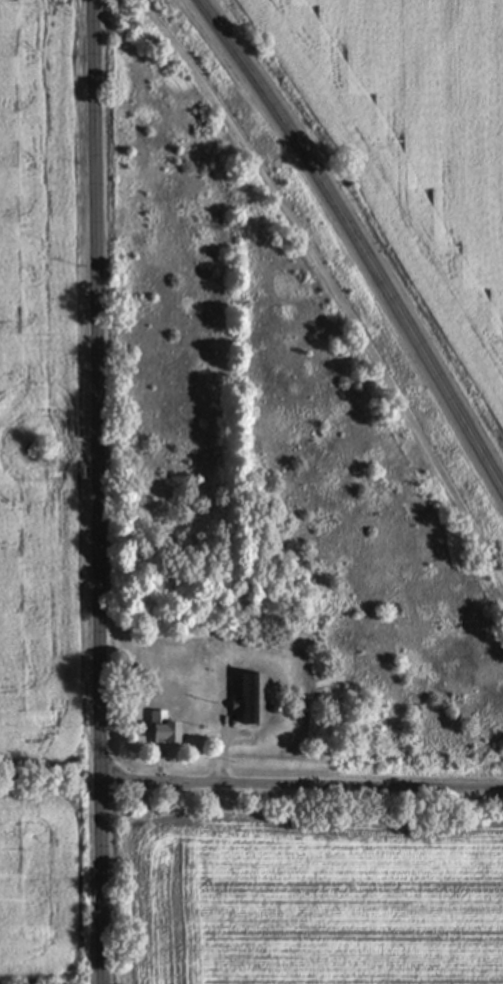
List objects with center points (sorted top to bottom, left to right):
road: (221, 30)
road: (375, 275)
road: (328, 284)
road: (97, 491)
building: (252, 697)
building: (271, 707)
building: (163, 727)
road: (220, 756)
road: (301, 783)

